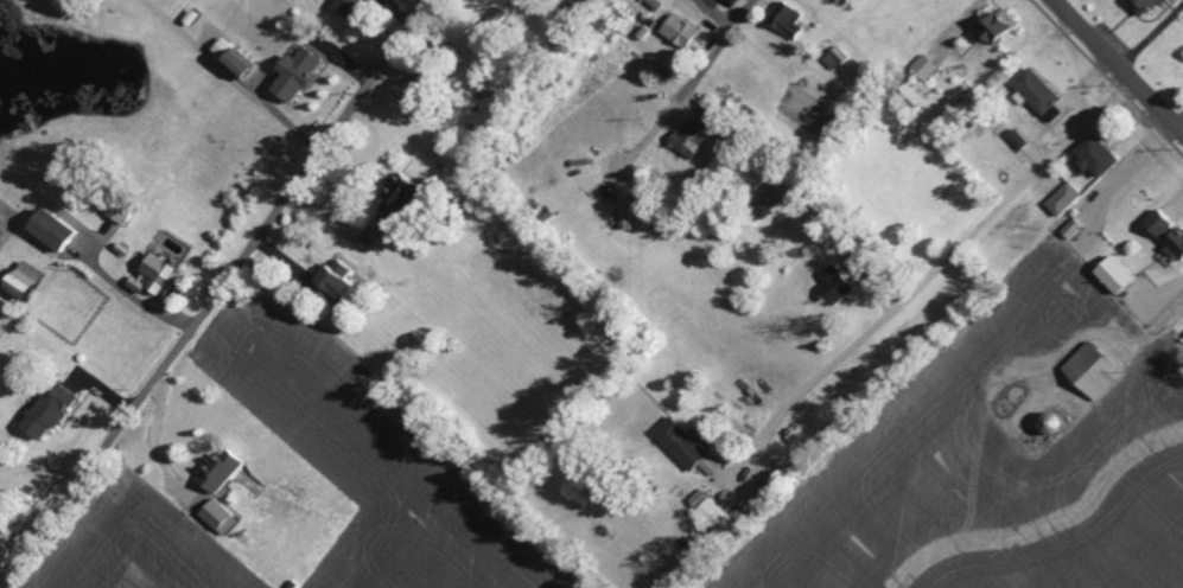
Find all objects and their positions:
building: (1143, 5)
building: (355, 7)
road: (713, 13)
road: (742, 13)
building: (793, 19)
building: (491, 26)
building: (993, 26)
building: (686, 31)
building: (247, 64)
building: (922, 68)
road: (1117, 68)
building: (304, 72)
road: (698, 72)
road: (227, 81)
building: (1033, 90)
building: (714, 114)
building: (692, 139)
building: (1092, 155)
building: (406, 194)
building: (1061, 198)
building: (127, 210)
building: (1069, 228)
building: (63, 229)
building: (1168, 236)
road: (931, 274)
building: (1111, 274)
building: (165, 275)
building: (346, 280)
building: (33, 281)
building: (842, 283)
road: (217, 293)
building: (1089, 371)
building: (56, 410)
building: (687, 442)
building: (229, 469)
building: (717, 510)
building: (228, 516)

